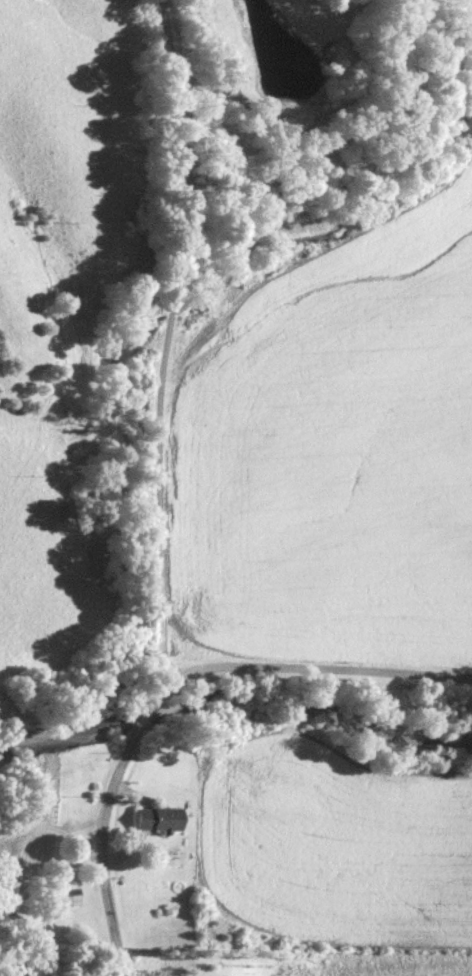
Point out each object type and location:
road: (159, 494)
road: (316, 665)
building: (163, 817)
building: (77, 895)

